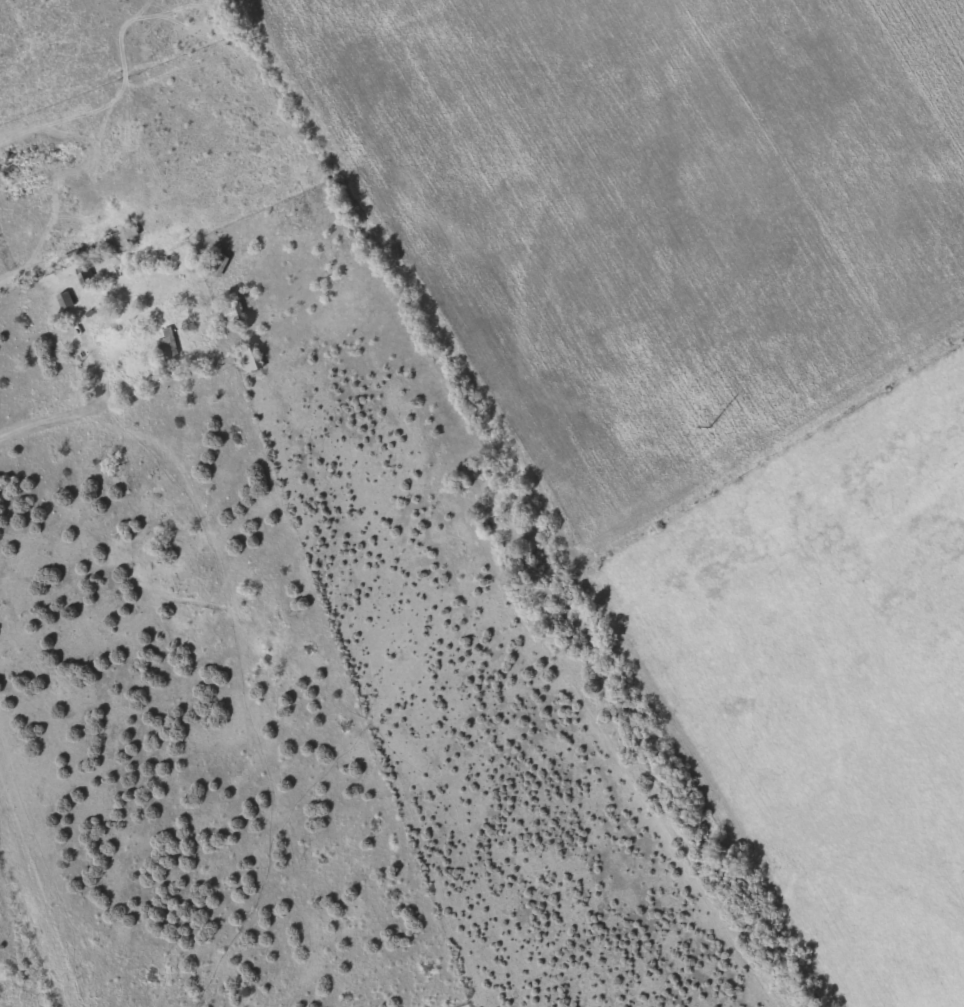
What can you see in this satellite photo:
building: (117, 239)
building: (216, 263)
building: (230, 313)
building: (247, 357)
power tower: (709, 426)
road: (26, 438)
road: (275, 569)

